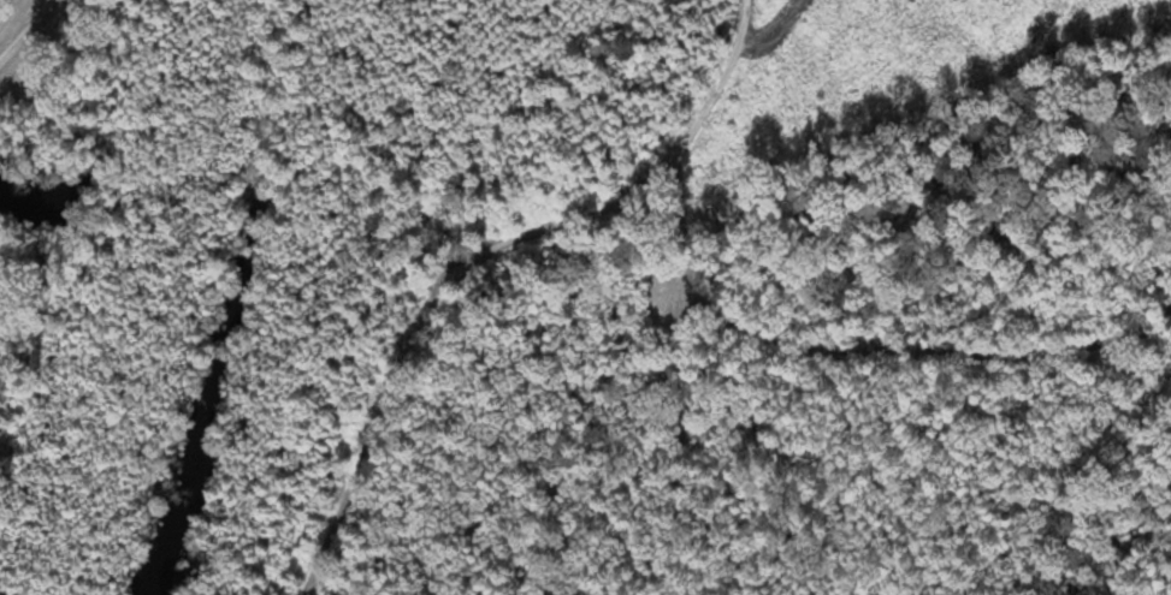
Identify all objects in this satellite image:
road: (22, 37)
road: (644, 294)
road: (900, 427)

